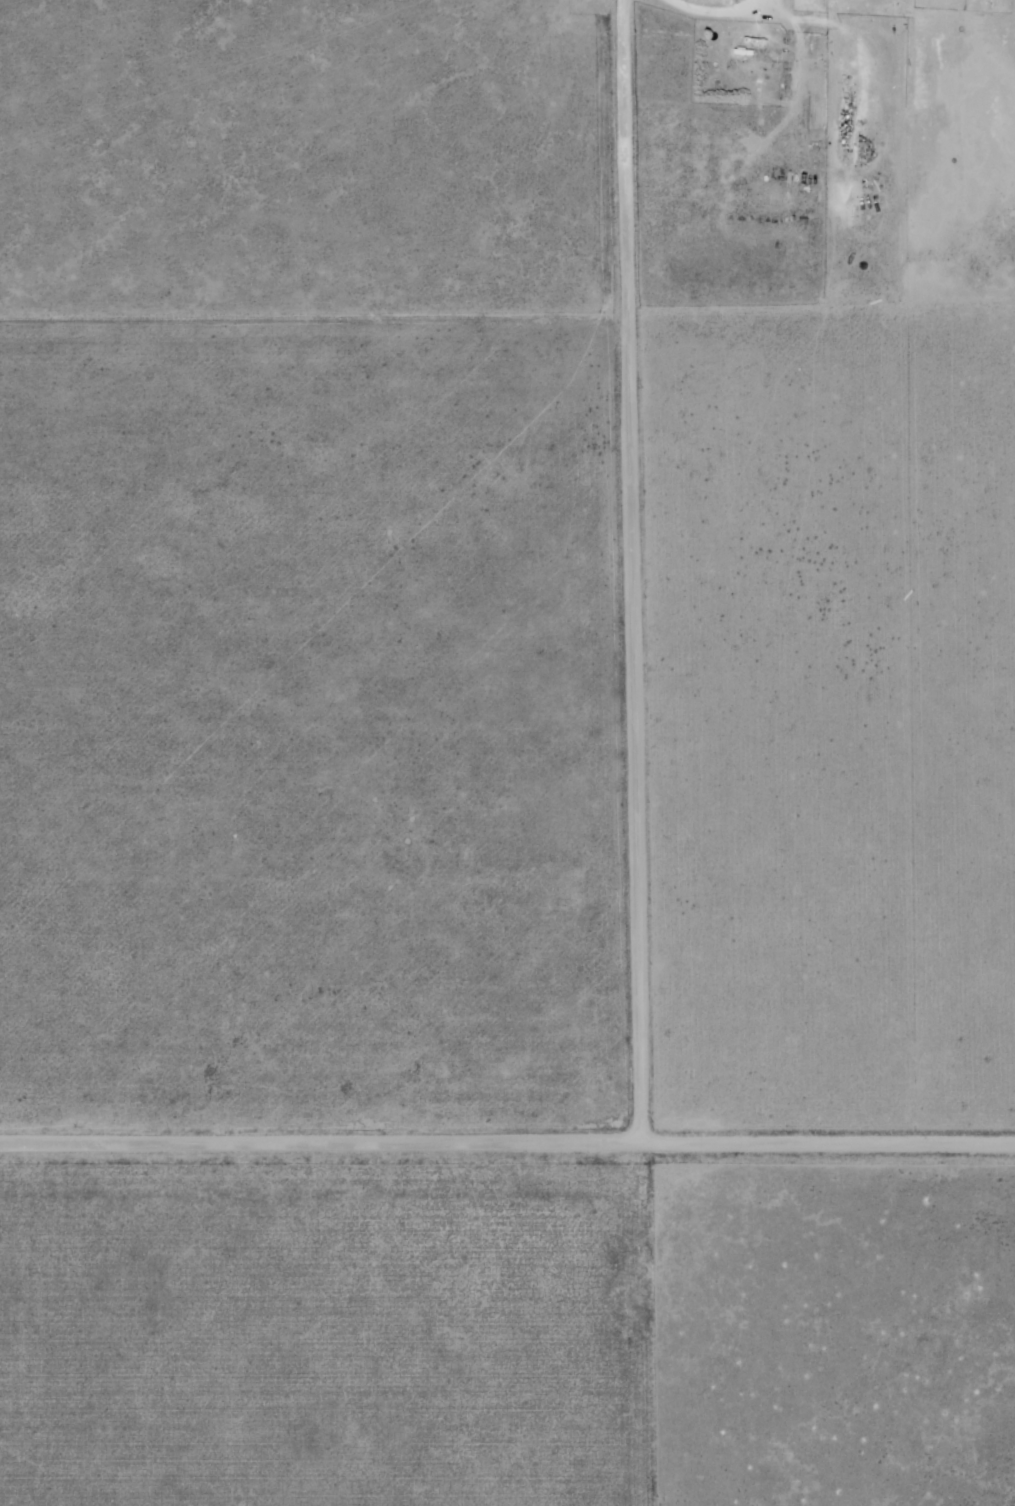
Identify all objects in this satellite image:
road: (700, 13)
building: (742, 59)
road: (631, 574)
road: (507, 1148)

